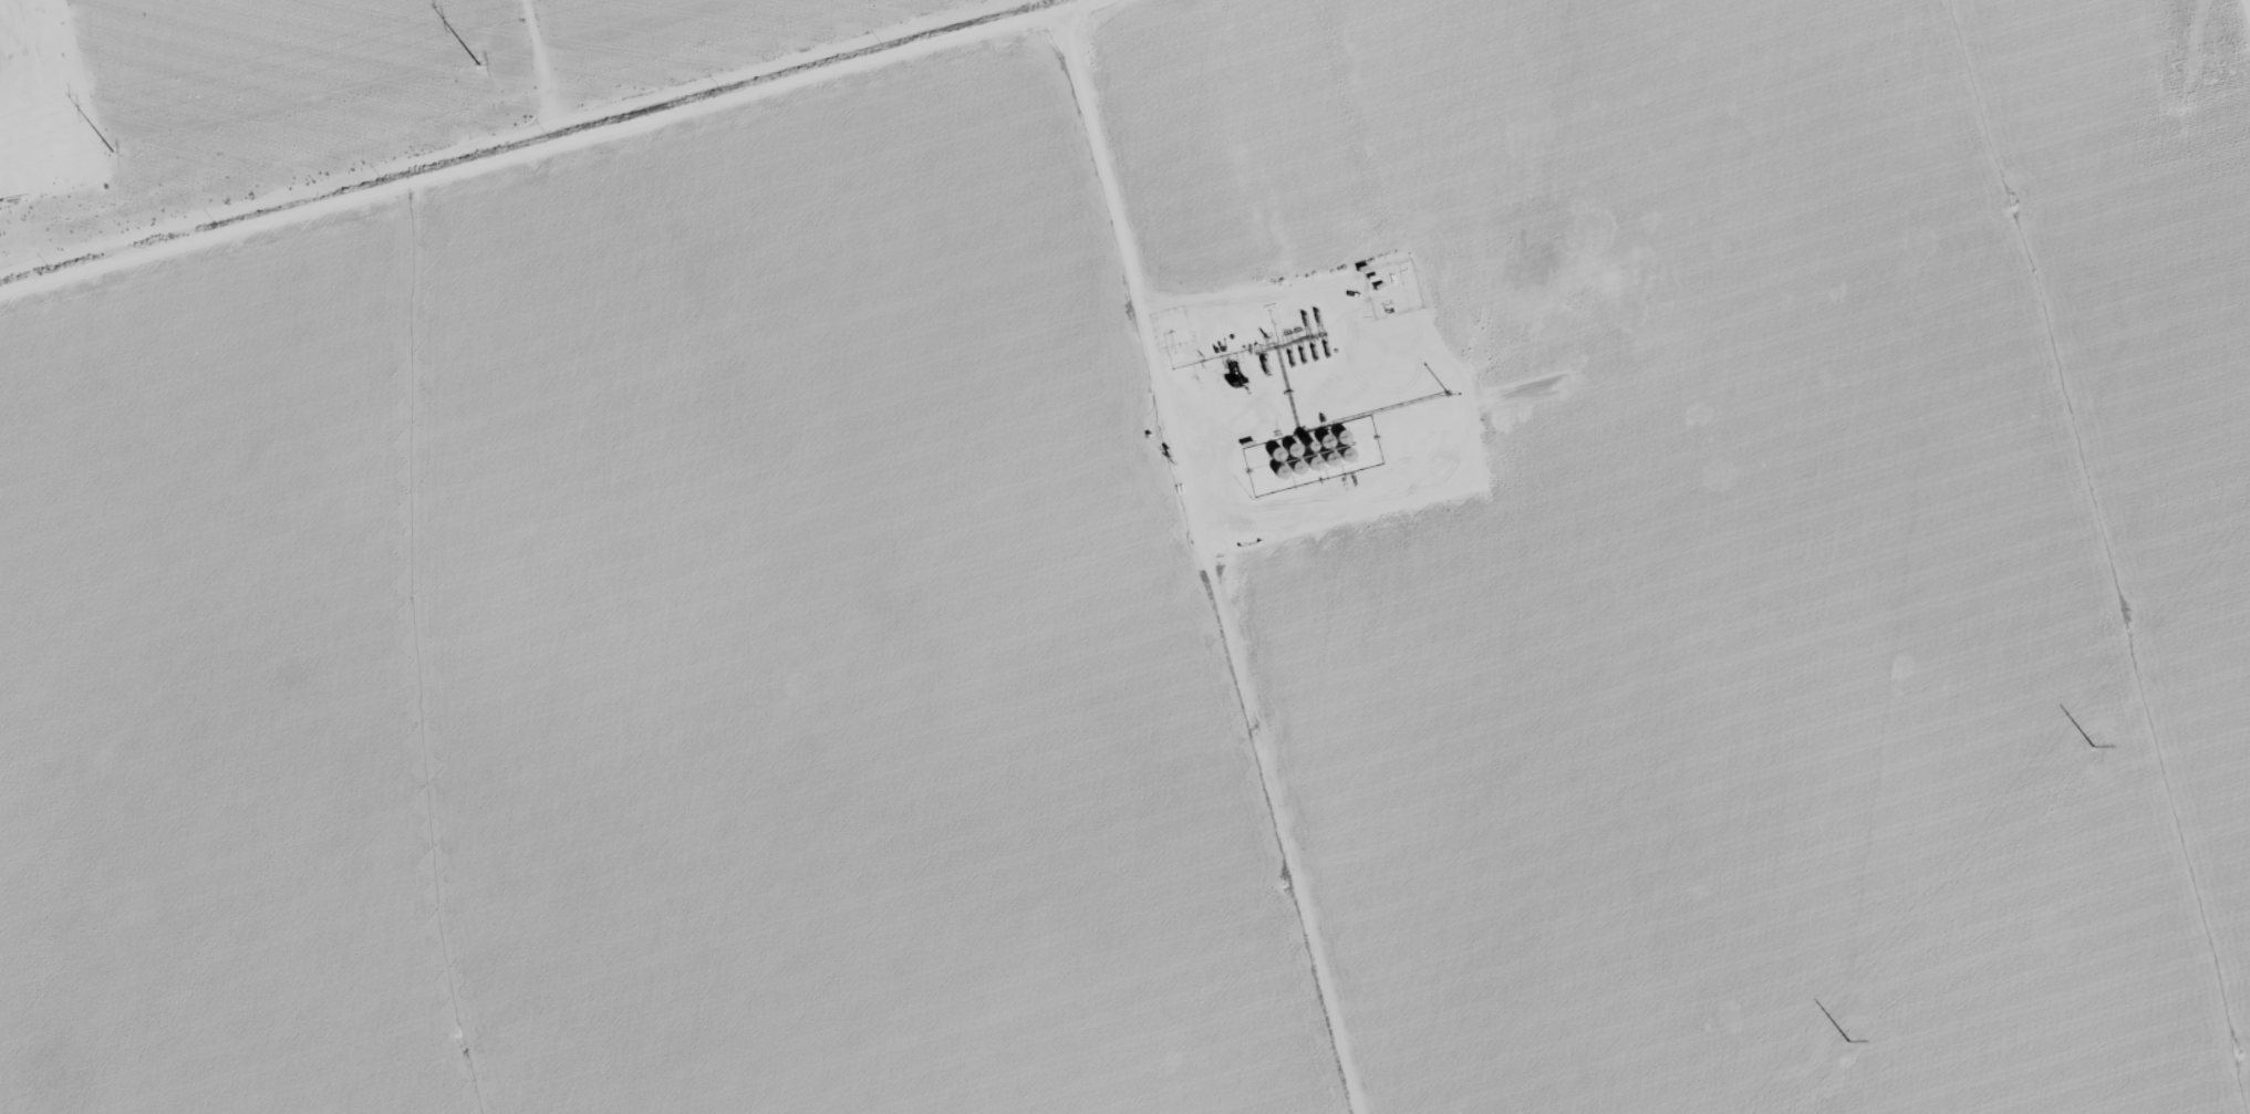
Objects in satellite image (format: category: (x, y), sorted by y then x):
power tower: (481, 62)
power tower: (113, 149)
power tower: (2101, 737)
power tower: (1855, 1031)

